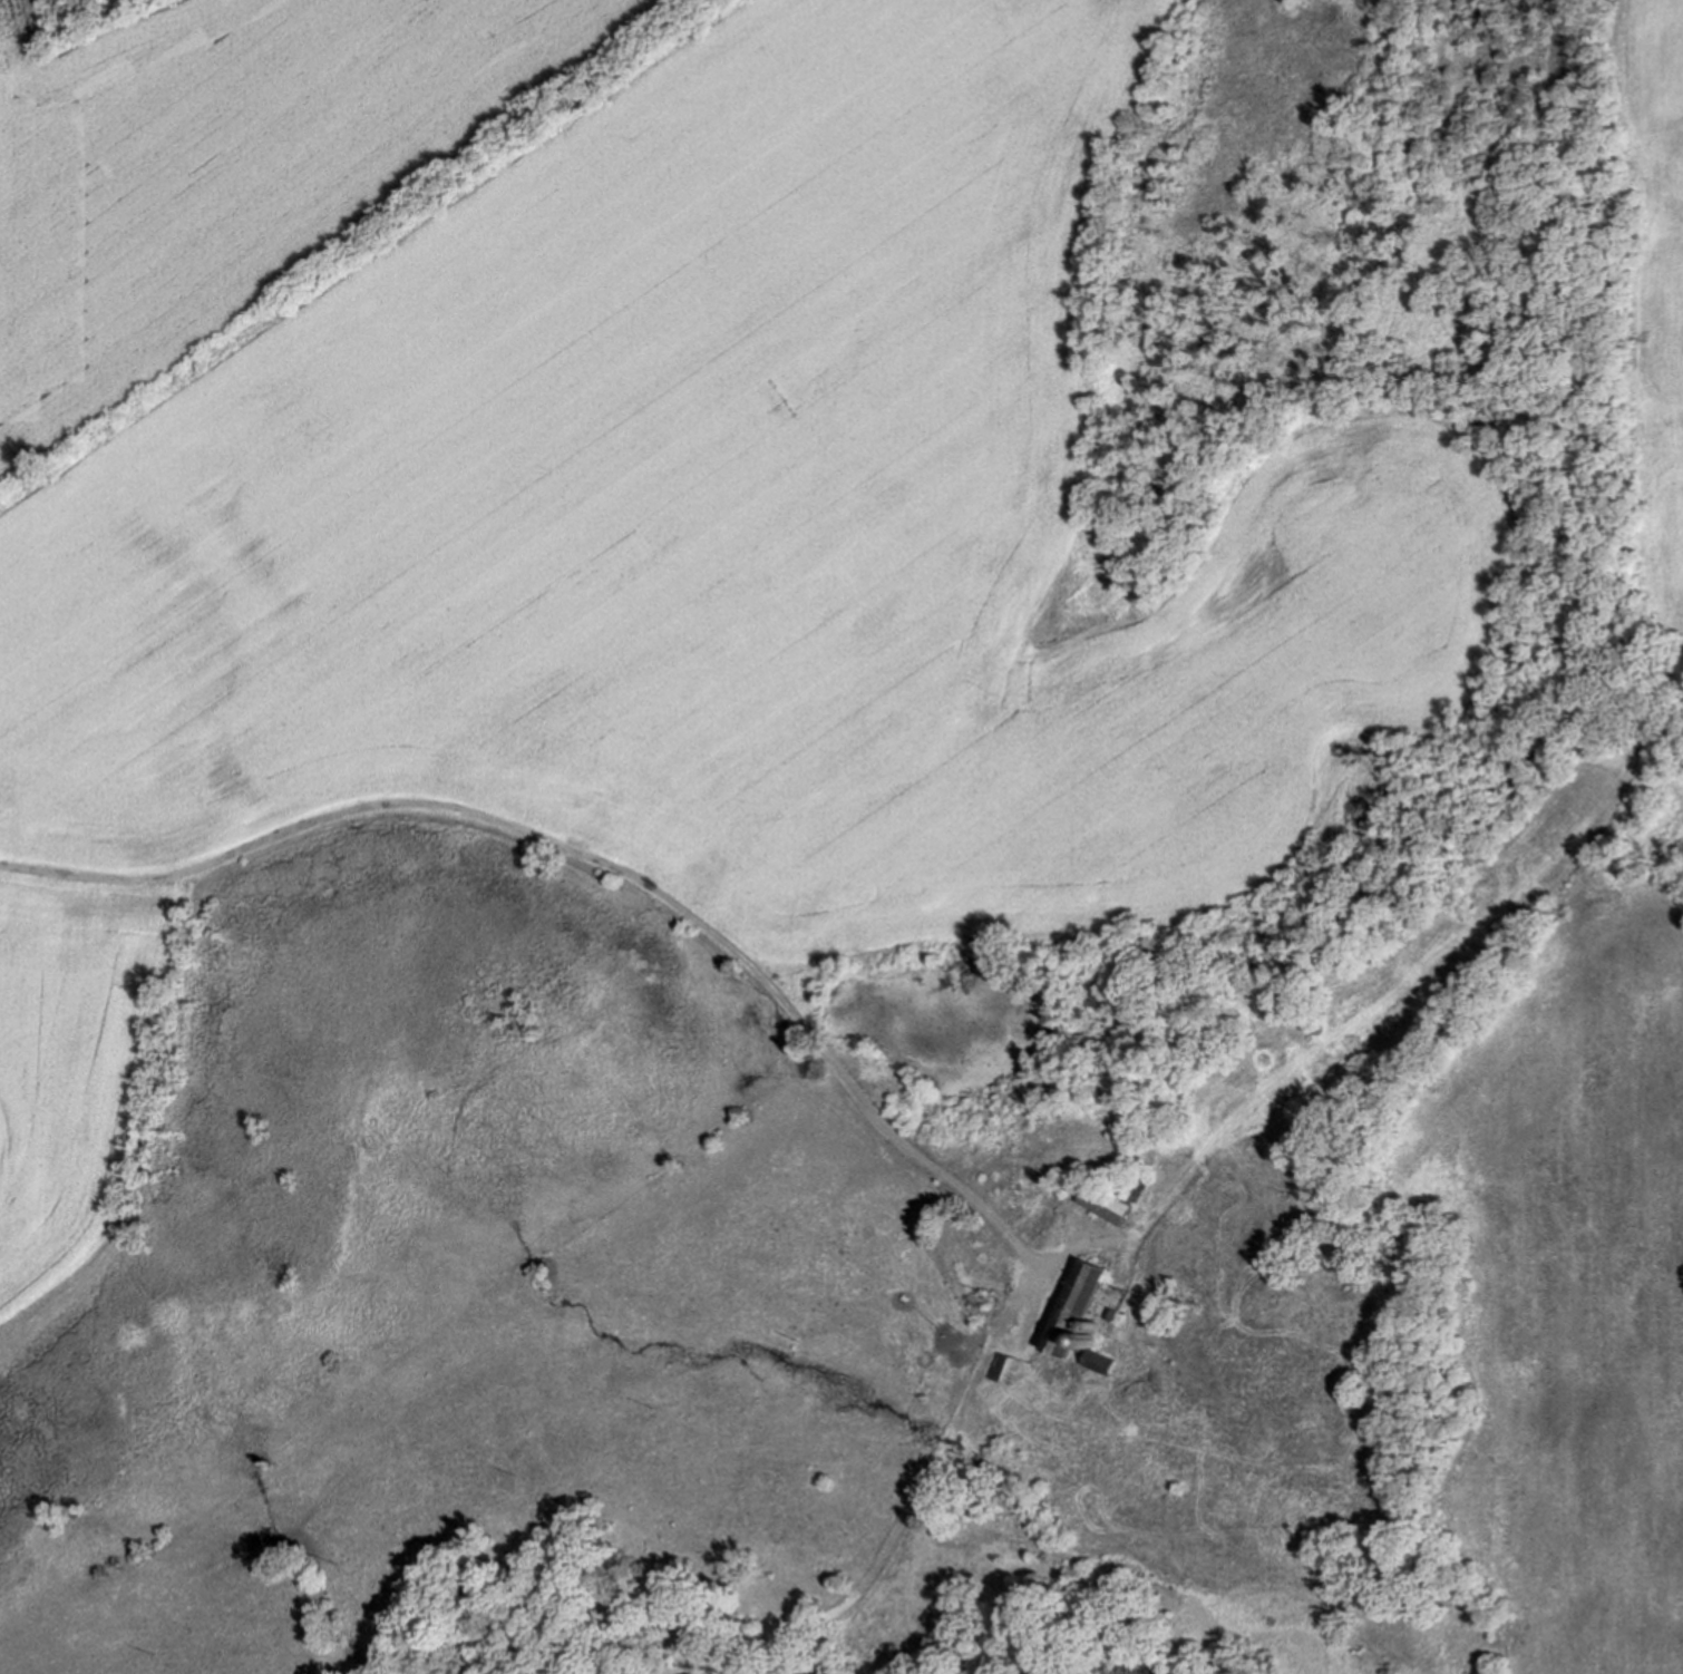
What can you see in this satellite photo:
road: (586, 856)
building: (1128, 1184)
building: (1101, 1197)
building: (1071, 1306)
building: (1108, 1313)
building: (1088, 1326)
building: (1084, 1340)
building: (1097, 1362)
building: (1000, 1368)

